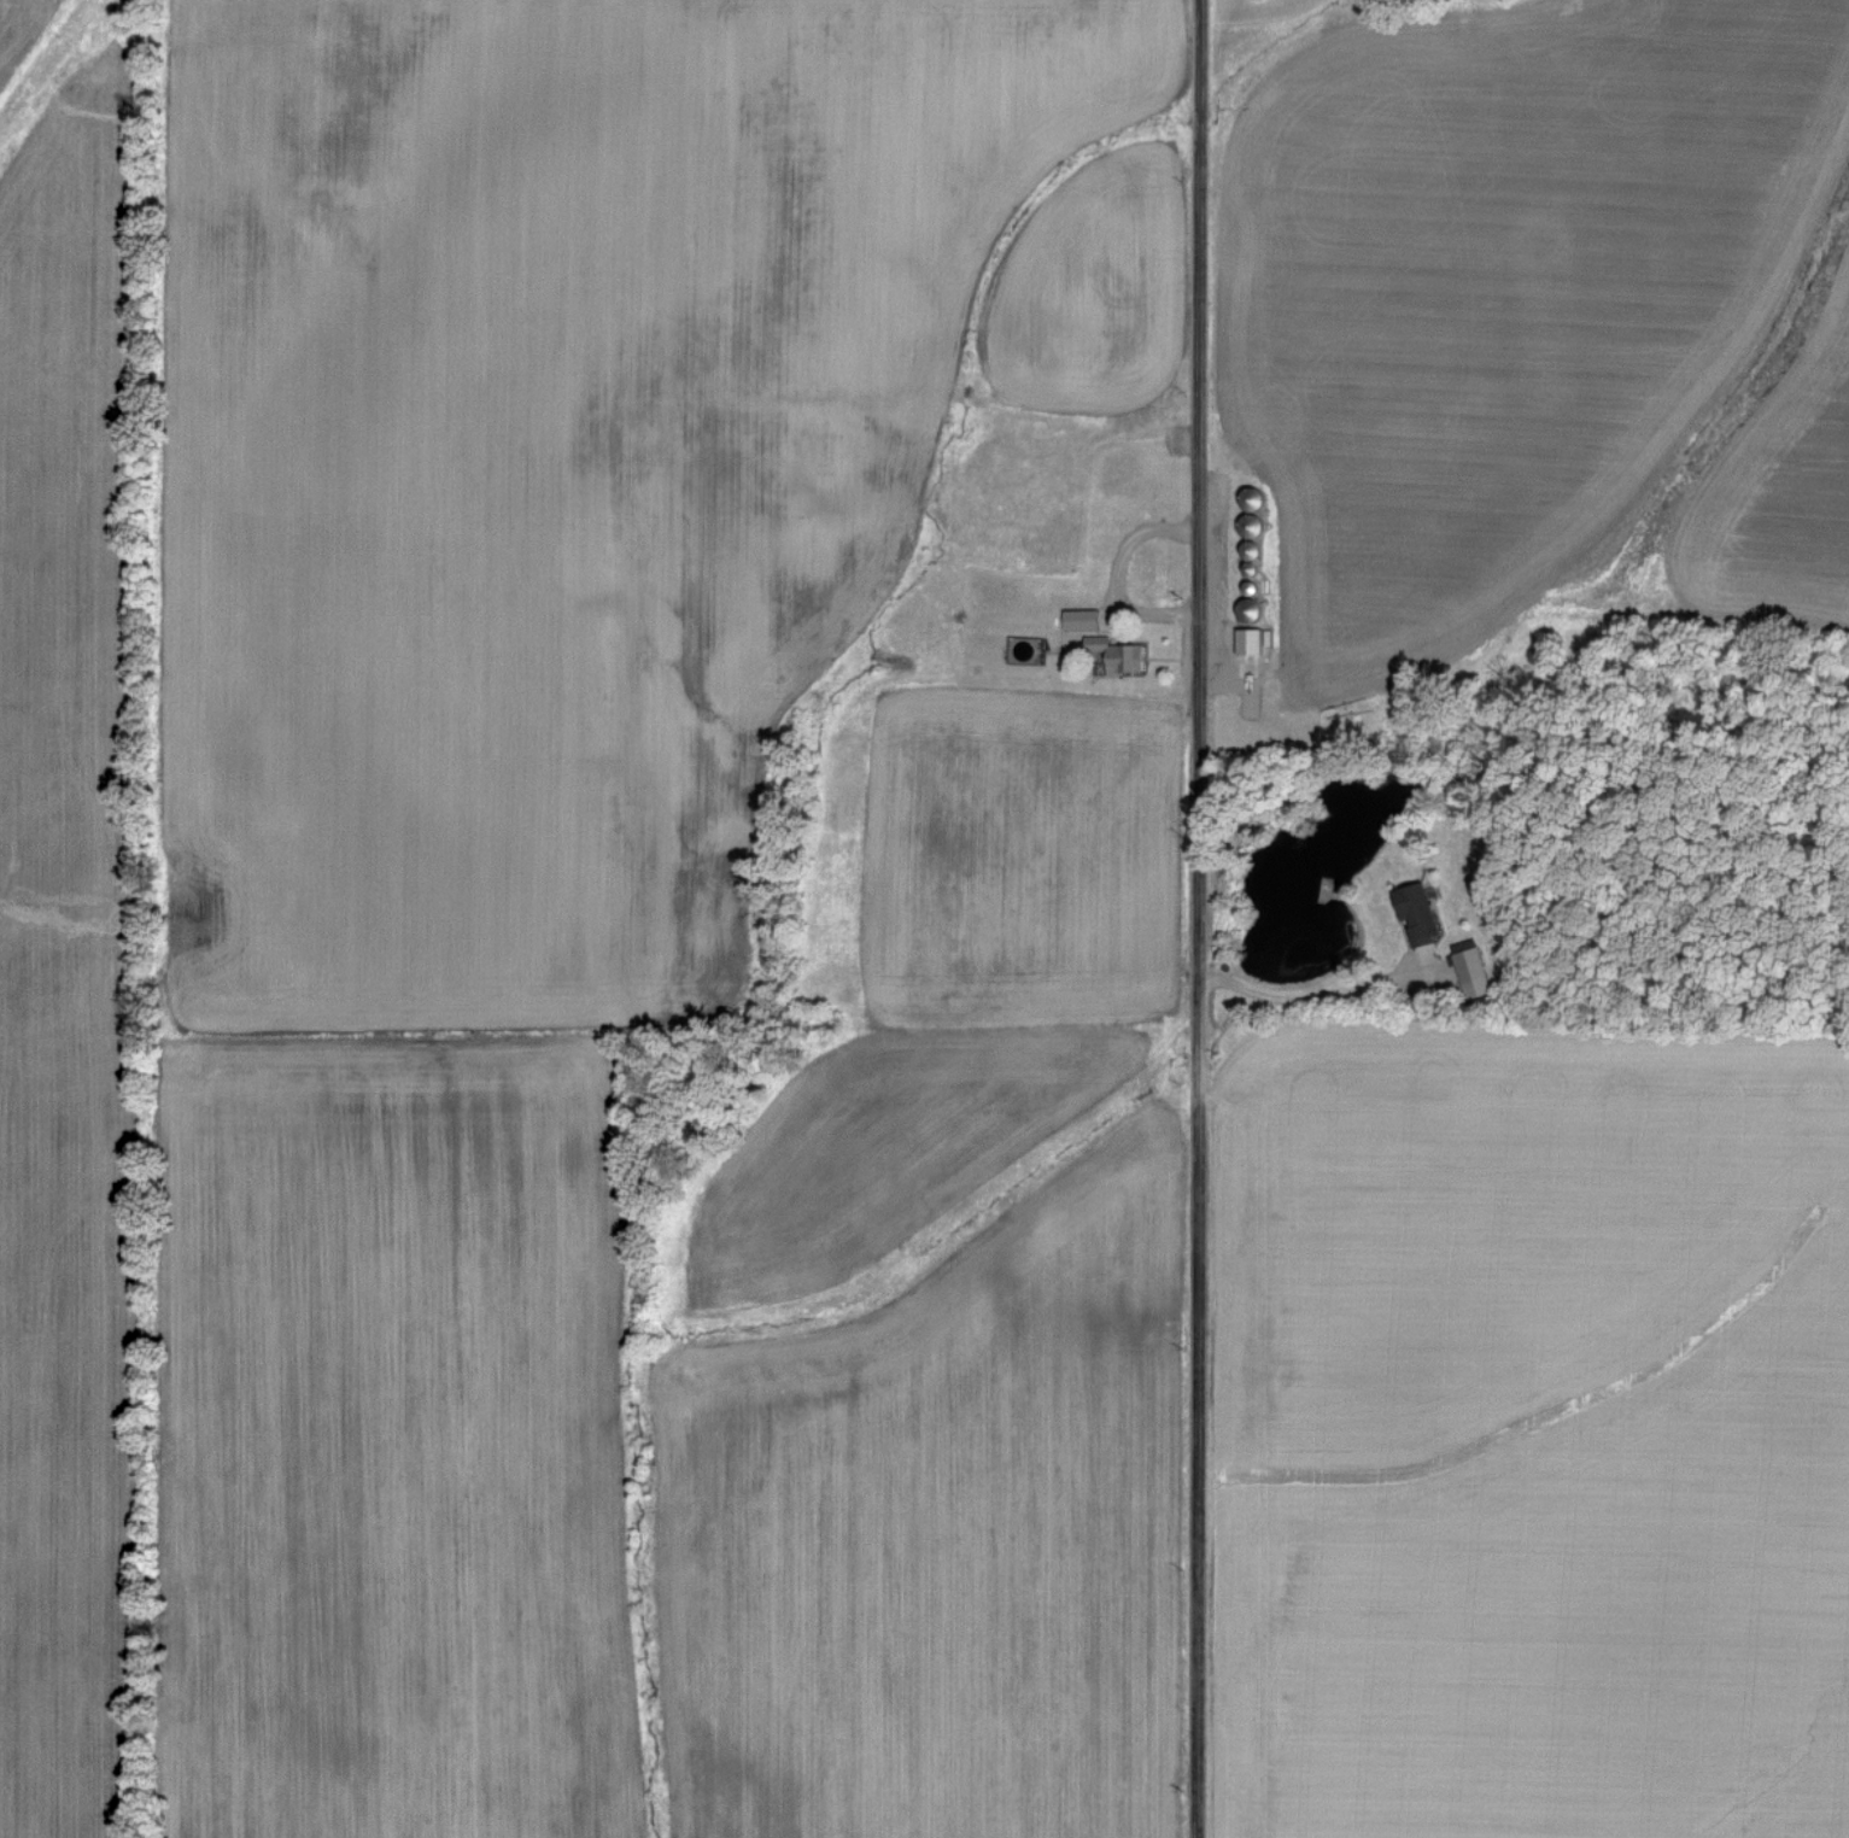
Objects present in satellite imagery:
road: (1116, 576)
building: (1081, 616)
building: (1123, 655)
building: (1415, 908)
road: (1201, 918)
building: (1471, 970)
road: (1299, 1001)

